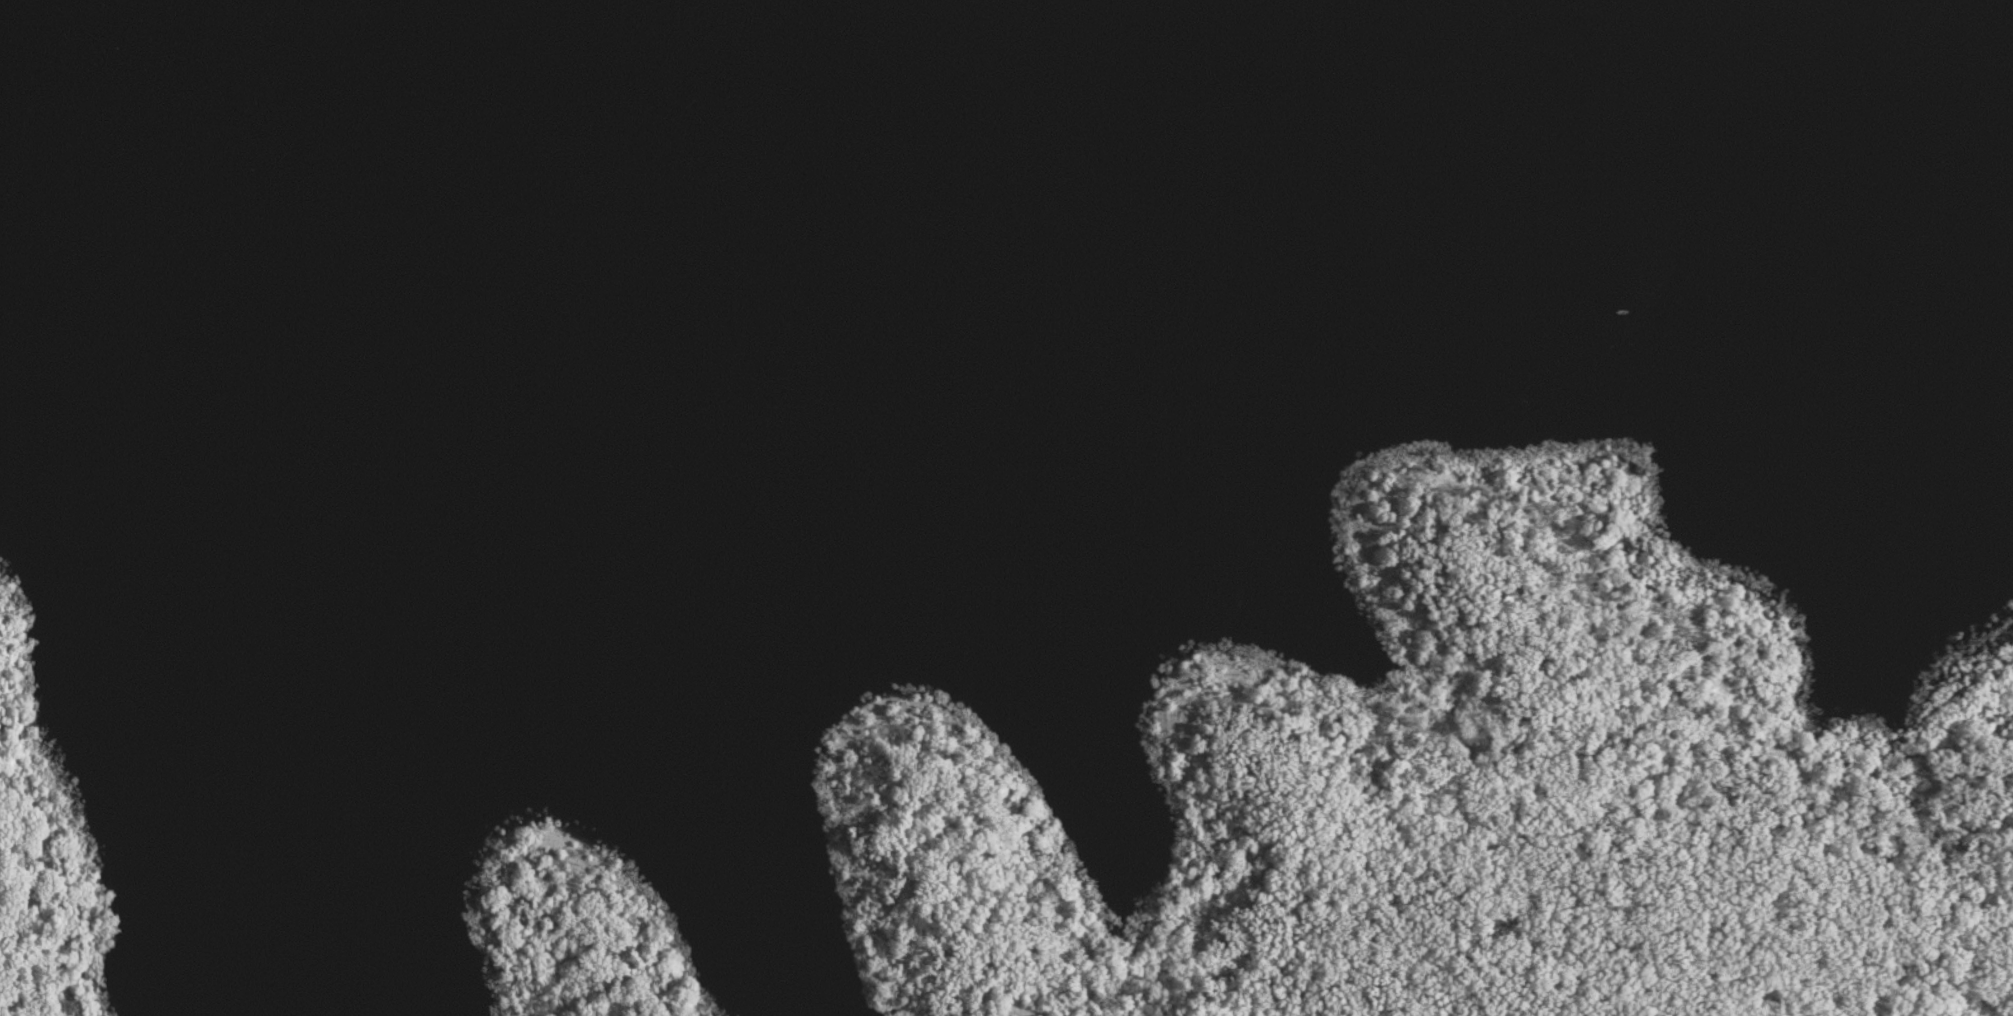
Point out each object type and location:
road: (988, 1013)
road: (913, 1014)
road: (942, 1015)

